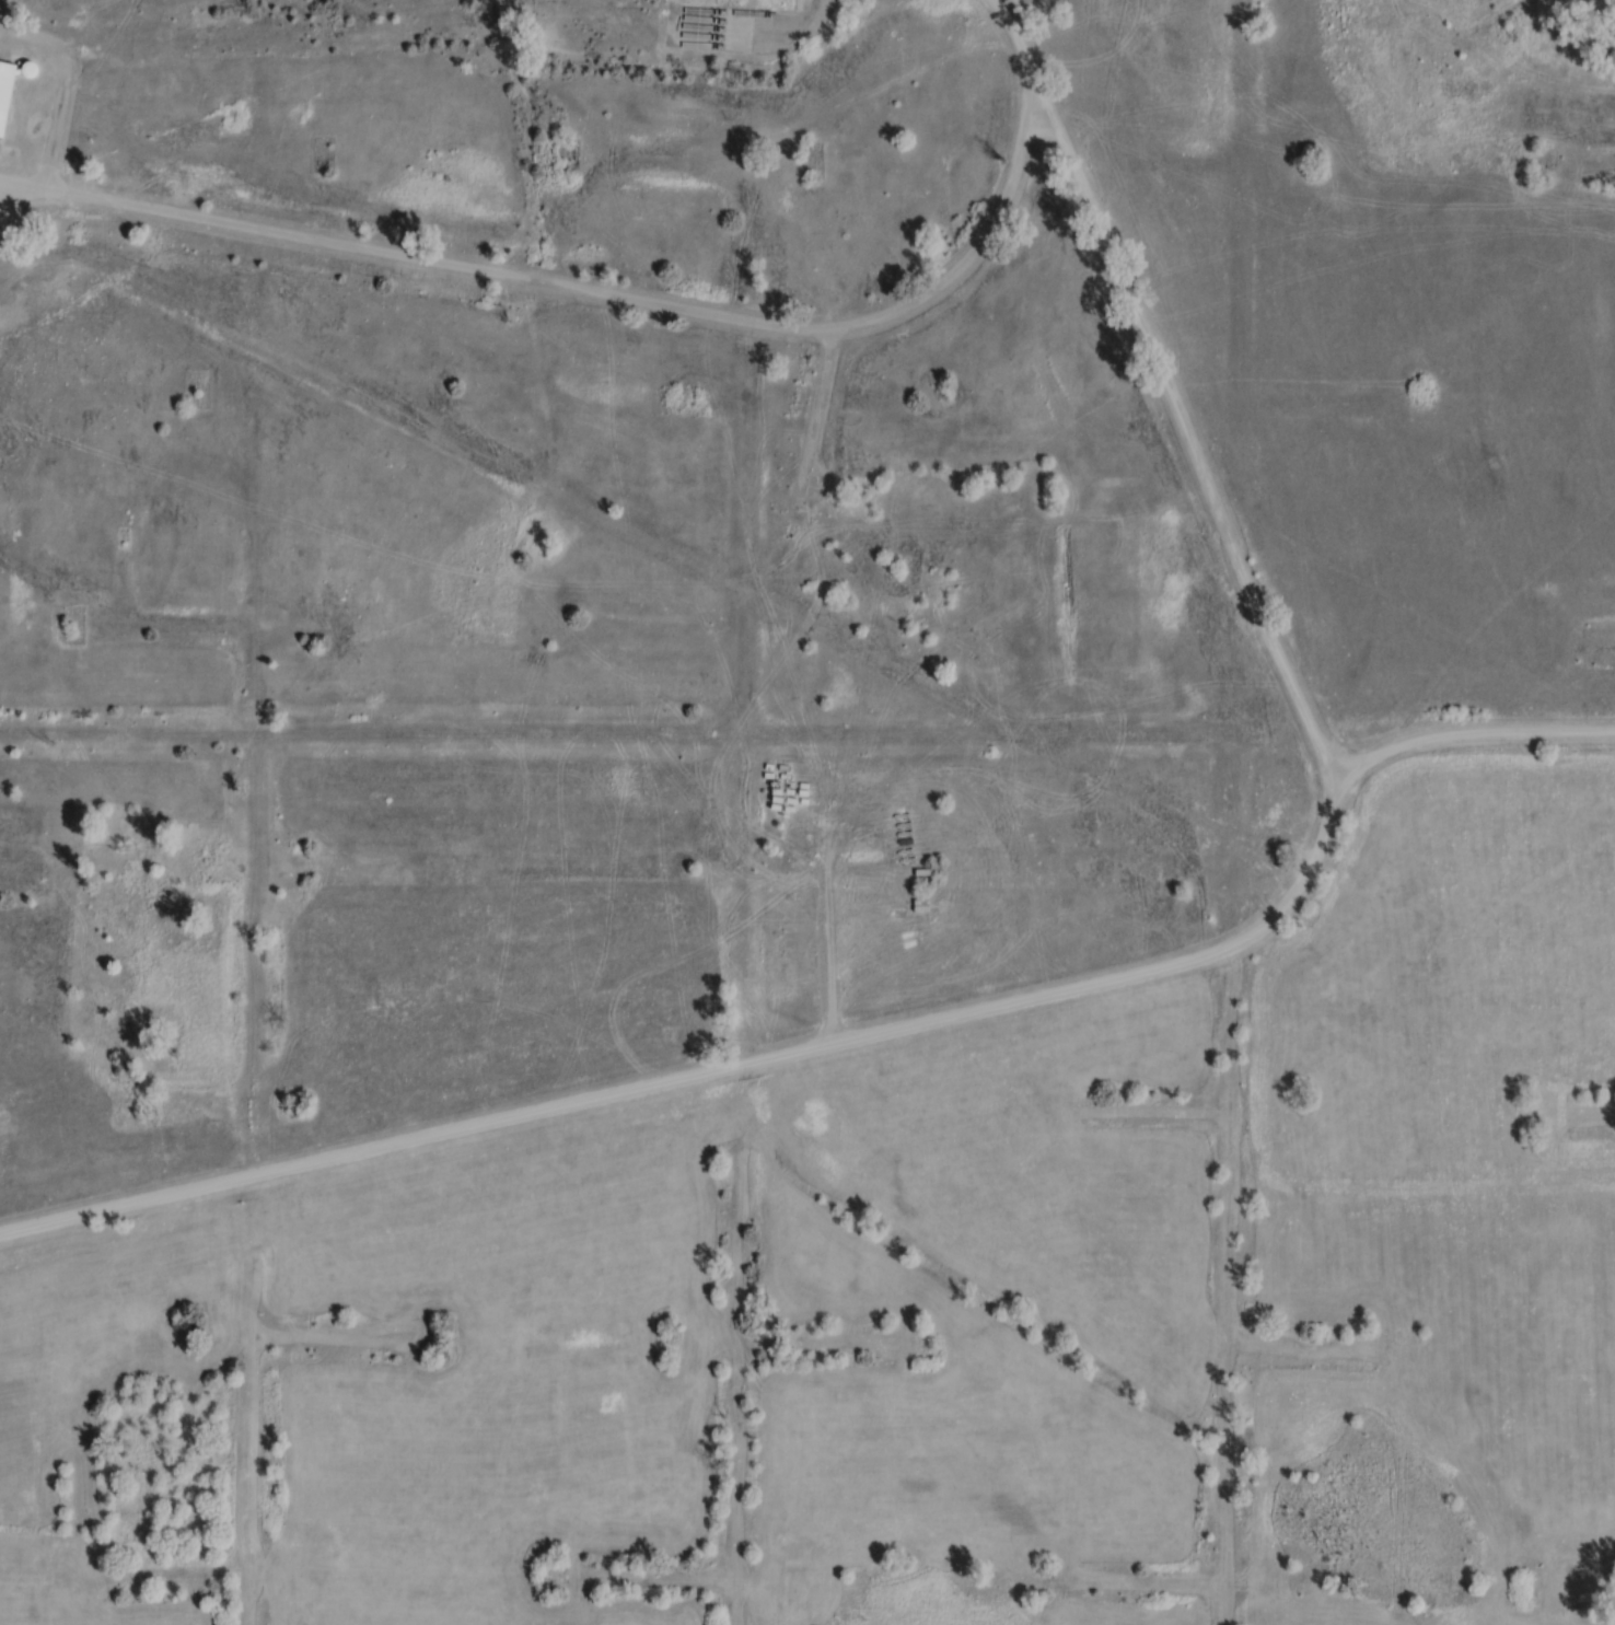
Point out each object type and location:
building: (787, 1)
road: (756, 28)
building: (8, 91)
road: (61, 92)
road: (637, 303)
building: (1145, 329)
road: (814, 423)
road: (1466, 734)
road: (1081, 989)

